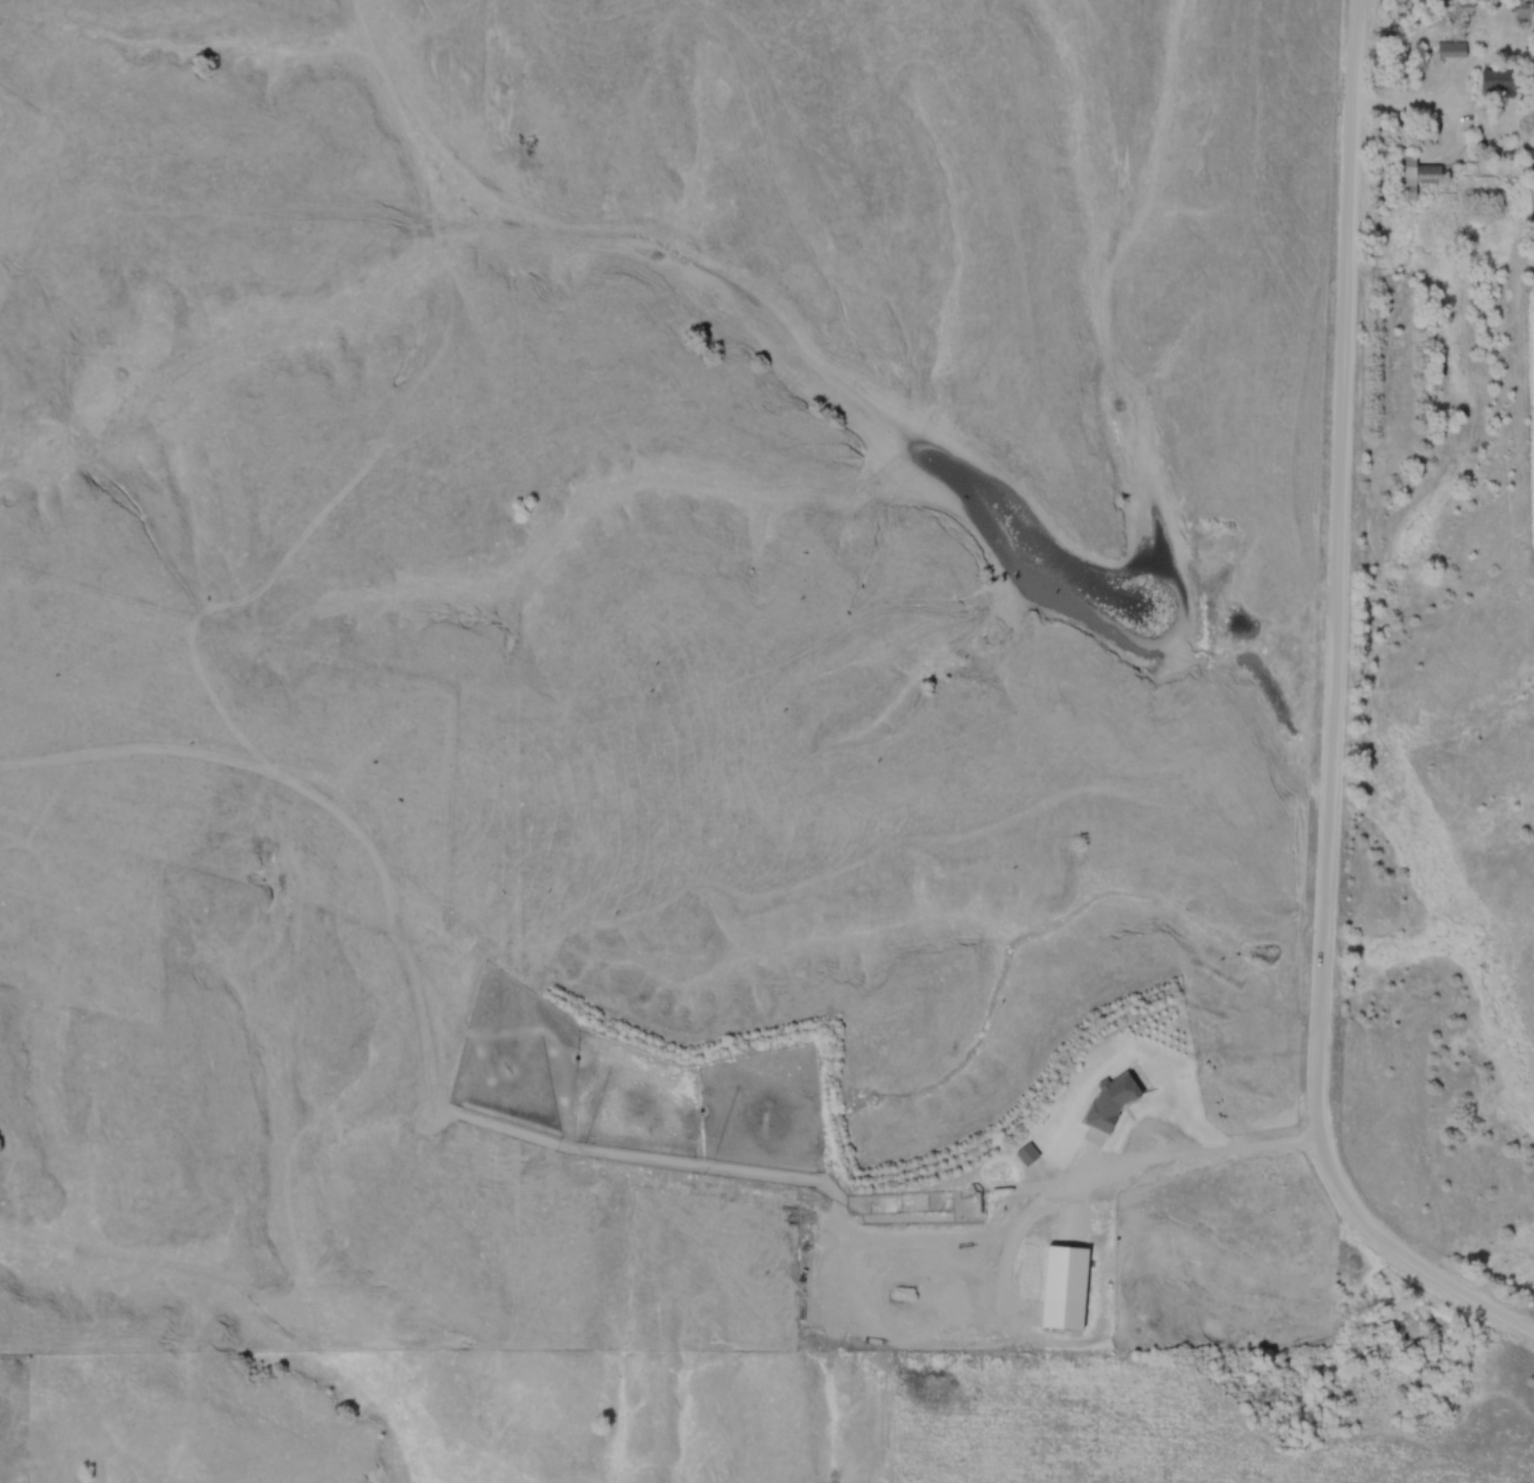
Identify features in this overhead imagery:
building: (1523, 11)
building: (1497, 83)
road: (1425, 100)
building: (1404, 176)
road: (1330, 717)
building: (1115, 1097)

